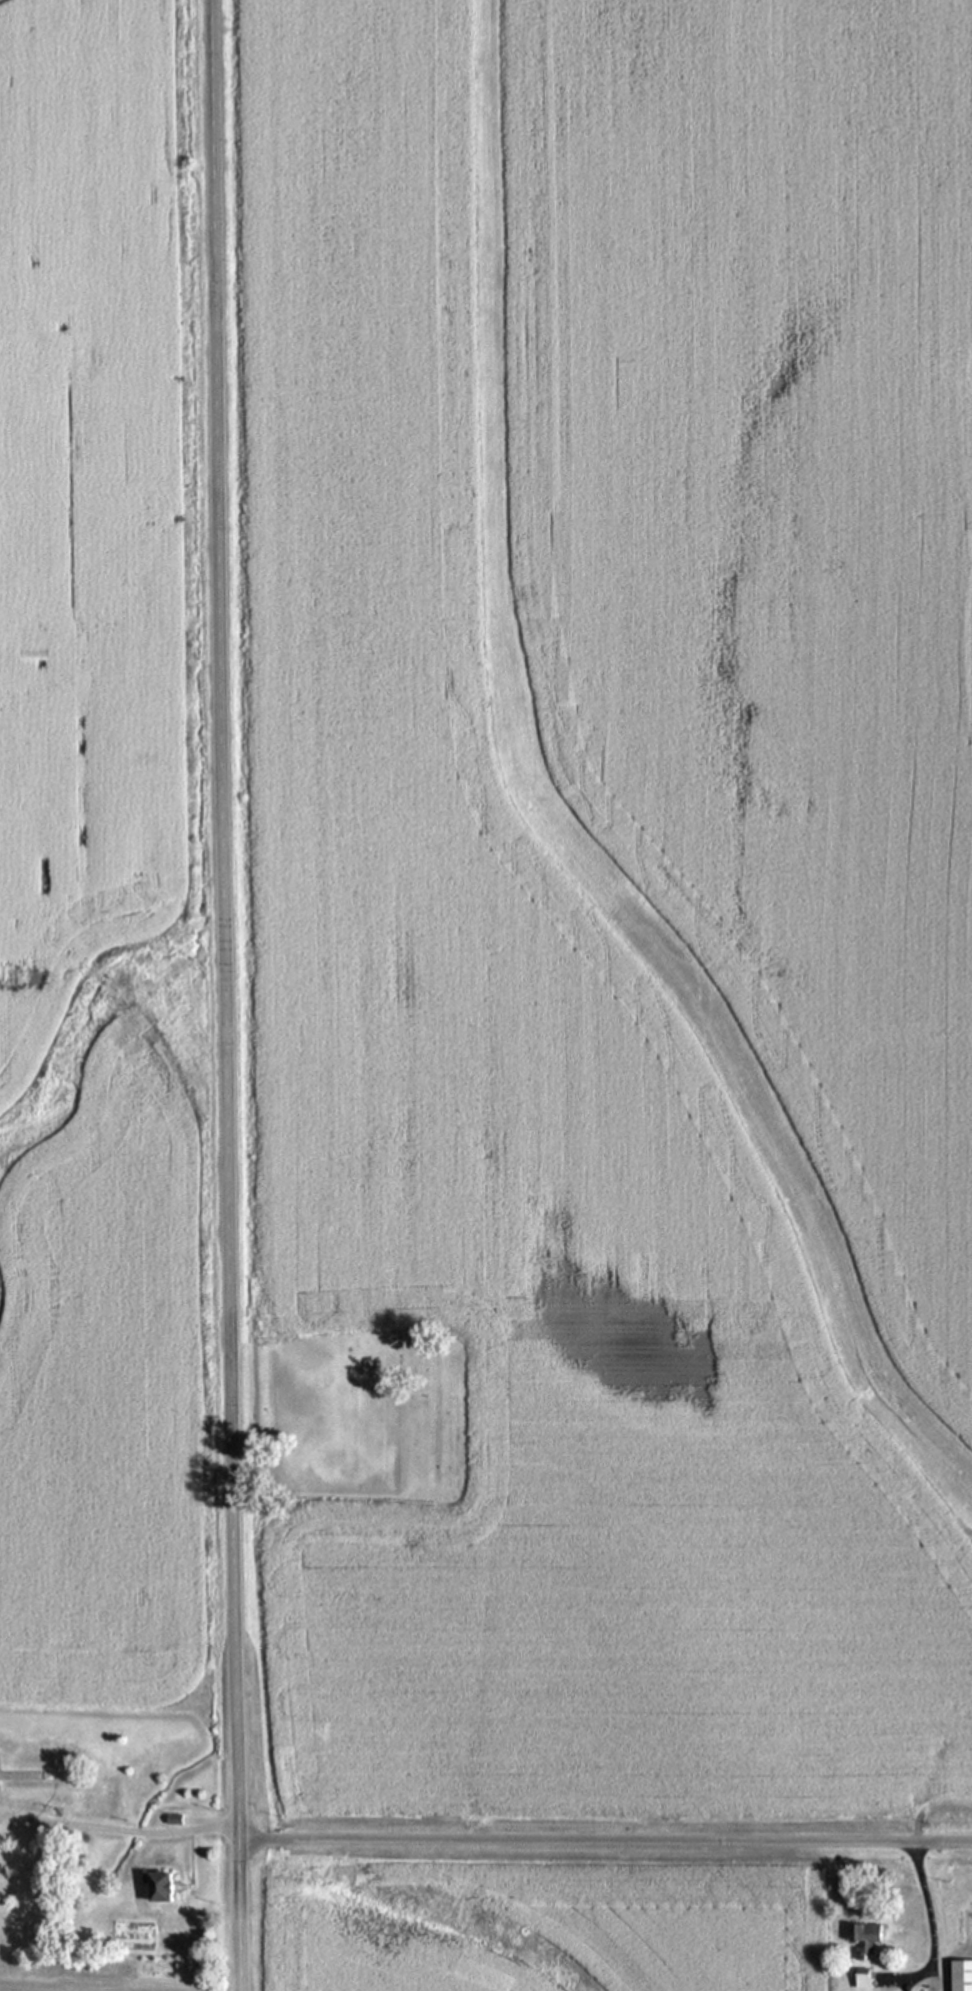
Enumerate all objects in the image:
road: (224, 995)
building: (174, 1819)
road: (118, 1831)
road: (605, 1836)
building: (164, 1886)
building: (864, 1938)
building: (960, 1975)
building: (862, 1977)

